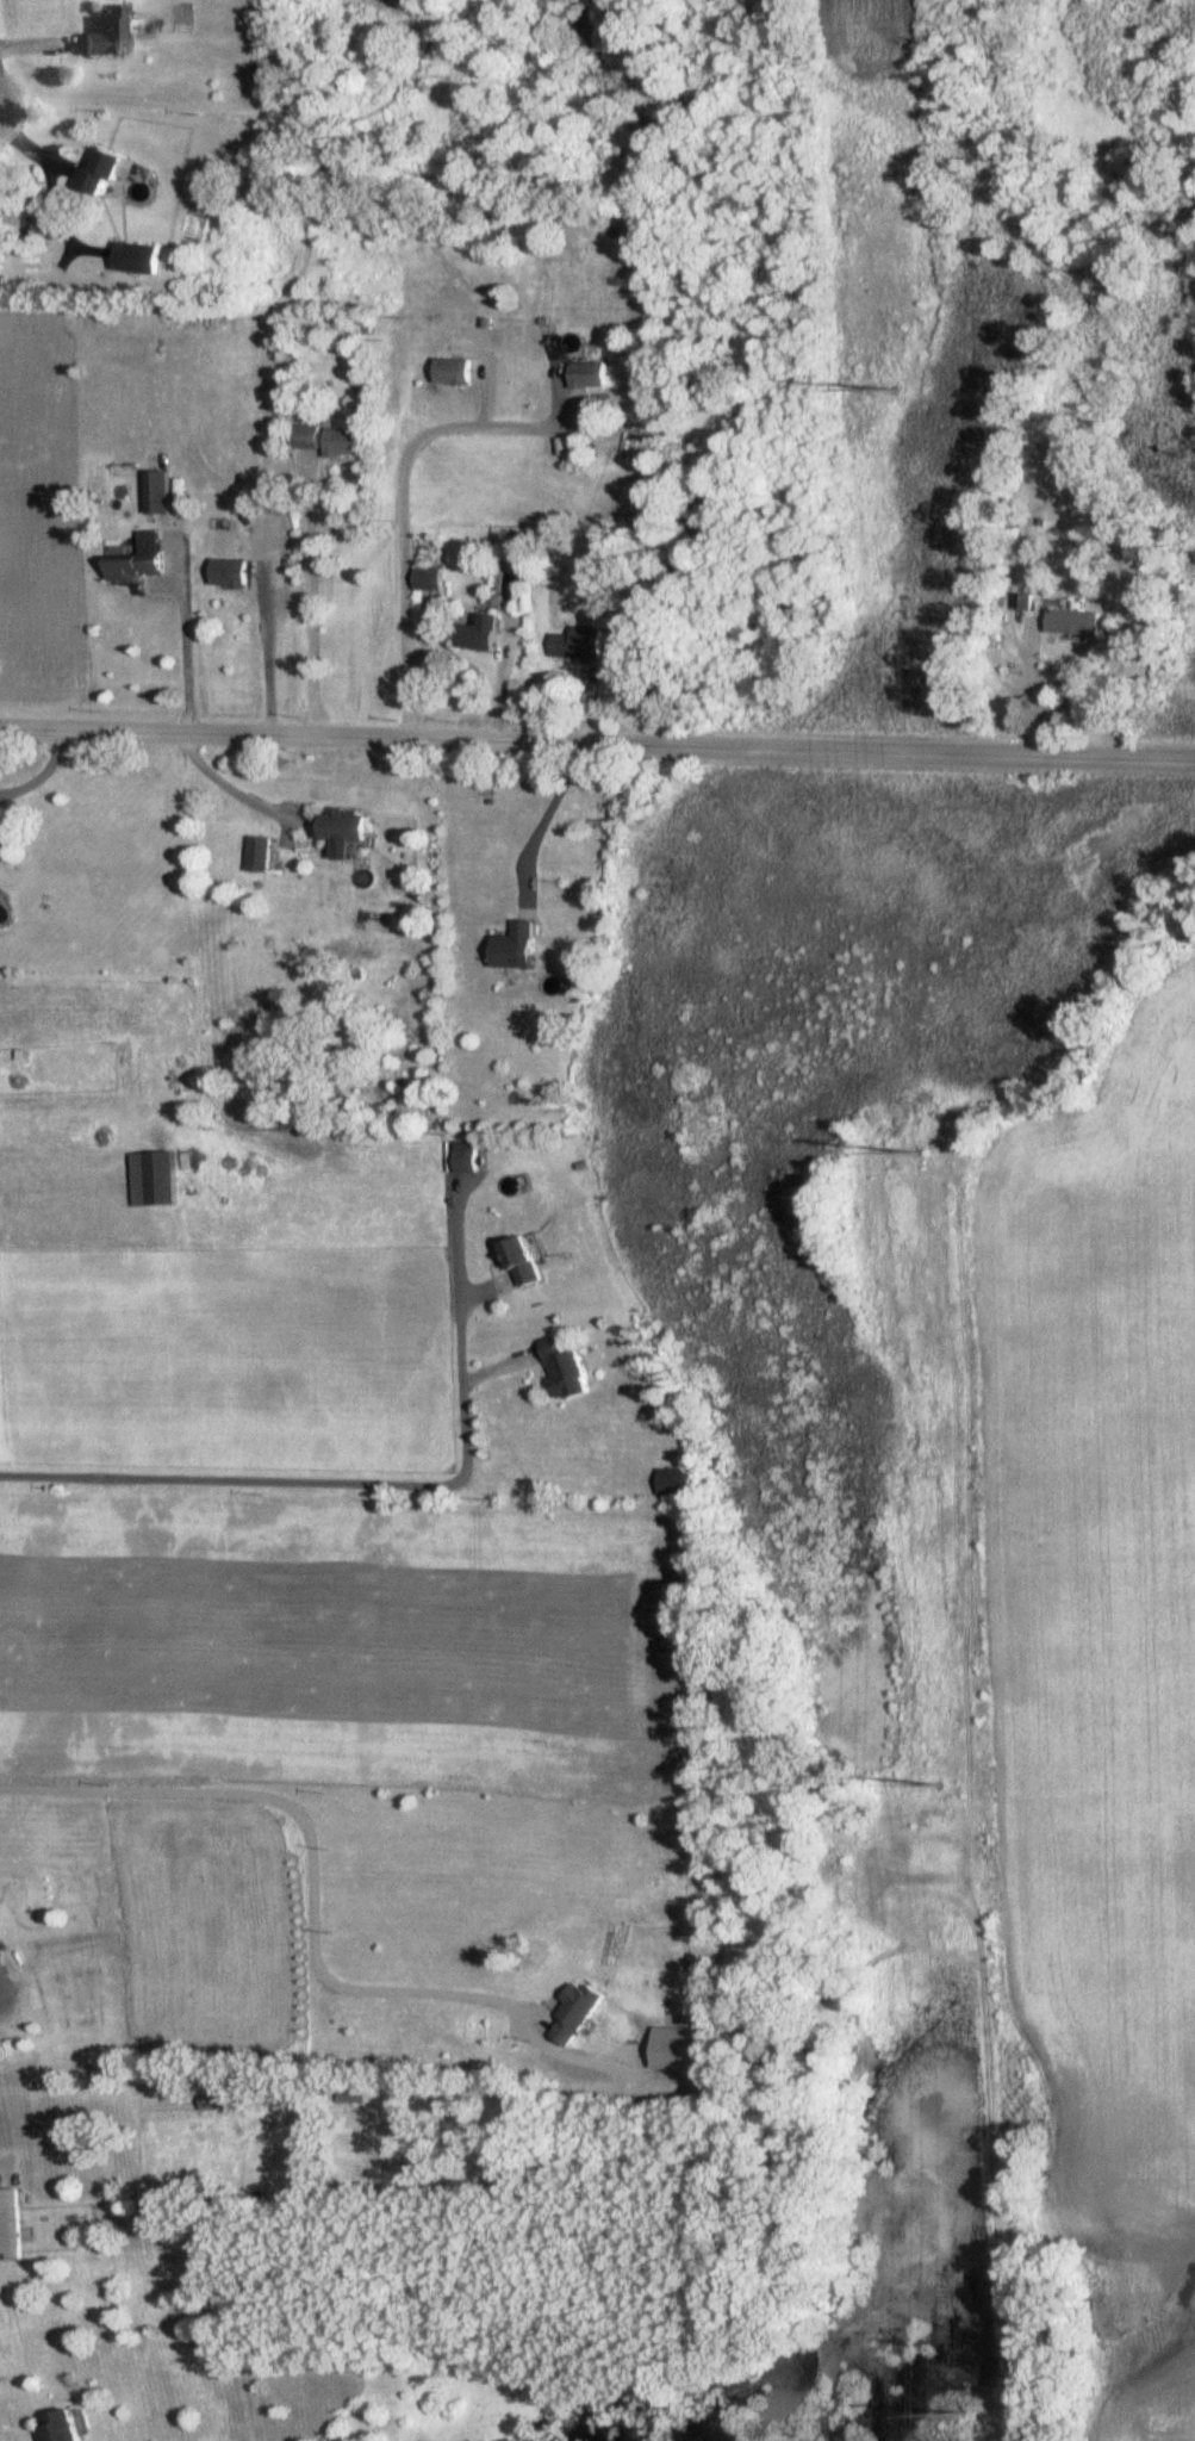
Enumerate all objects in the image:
building: (110, 33)
road: (38, 148)
building: (114, 163)
building: (142, 259)
building: (453, 372)
building: (590, 375)
power tower: (889, 389)
building: (334, 440)
building: (160, 493)
road: (402, 520)
building: (143, 561)
building: (232, 574)
building: (425, 579)
road: (312, 598)
building: (1016, 602)
building: (1068, 622)
building: (484, 635)
building: (575, 644)
road: (187, 652)
road: (267, 654)
road: (1032, 688)
road: (597, 743)
road: (46, 776)
road: (231, 794)
road: (552, 809)
building: (342, 832)
building: (251, 855)
building: (522, 948)
power tower: (919, 1154)
building: (471, 1156)
building: (181, 1161)
building: (531, 1262)
building: (571, 1368)
road: (374, 1480)
building: (676, 1484)
power tower: (940, 1785)
road: (311, 1846)
building: (0, 1957)
building: (351, 2098)
building: (213, 2101)
building: (11, 2226)
power tower: (958, 2414)

